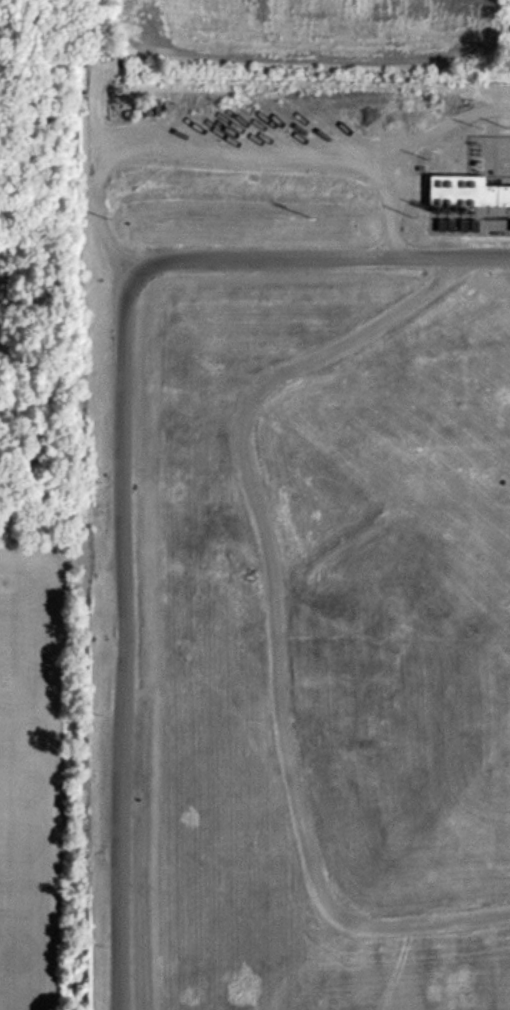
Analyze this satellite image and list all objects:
building: (468, 206)
road: (122, 453)
landfill: (301, 642)

